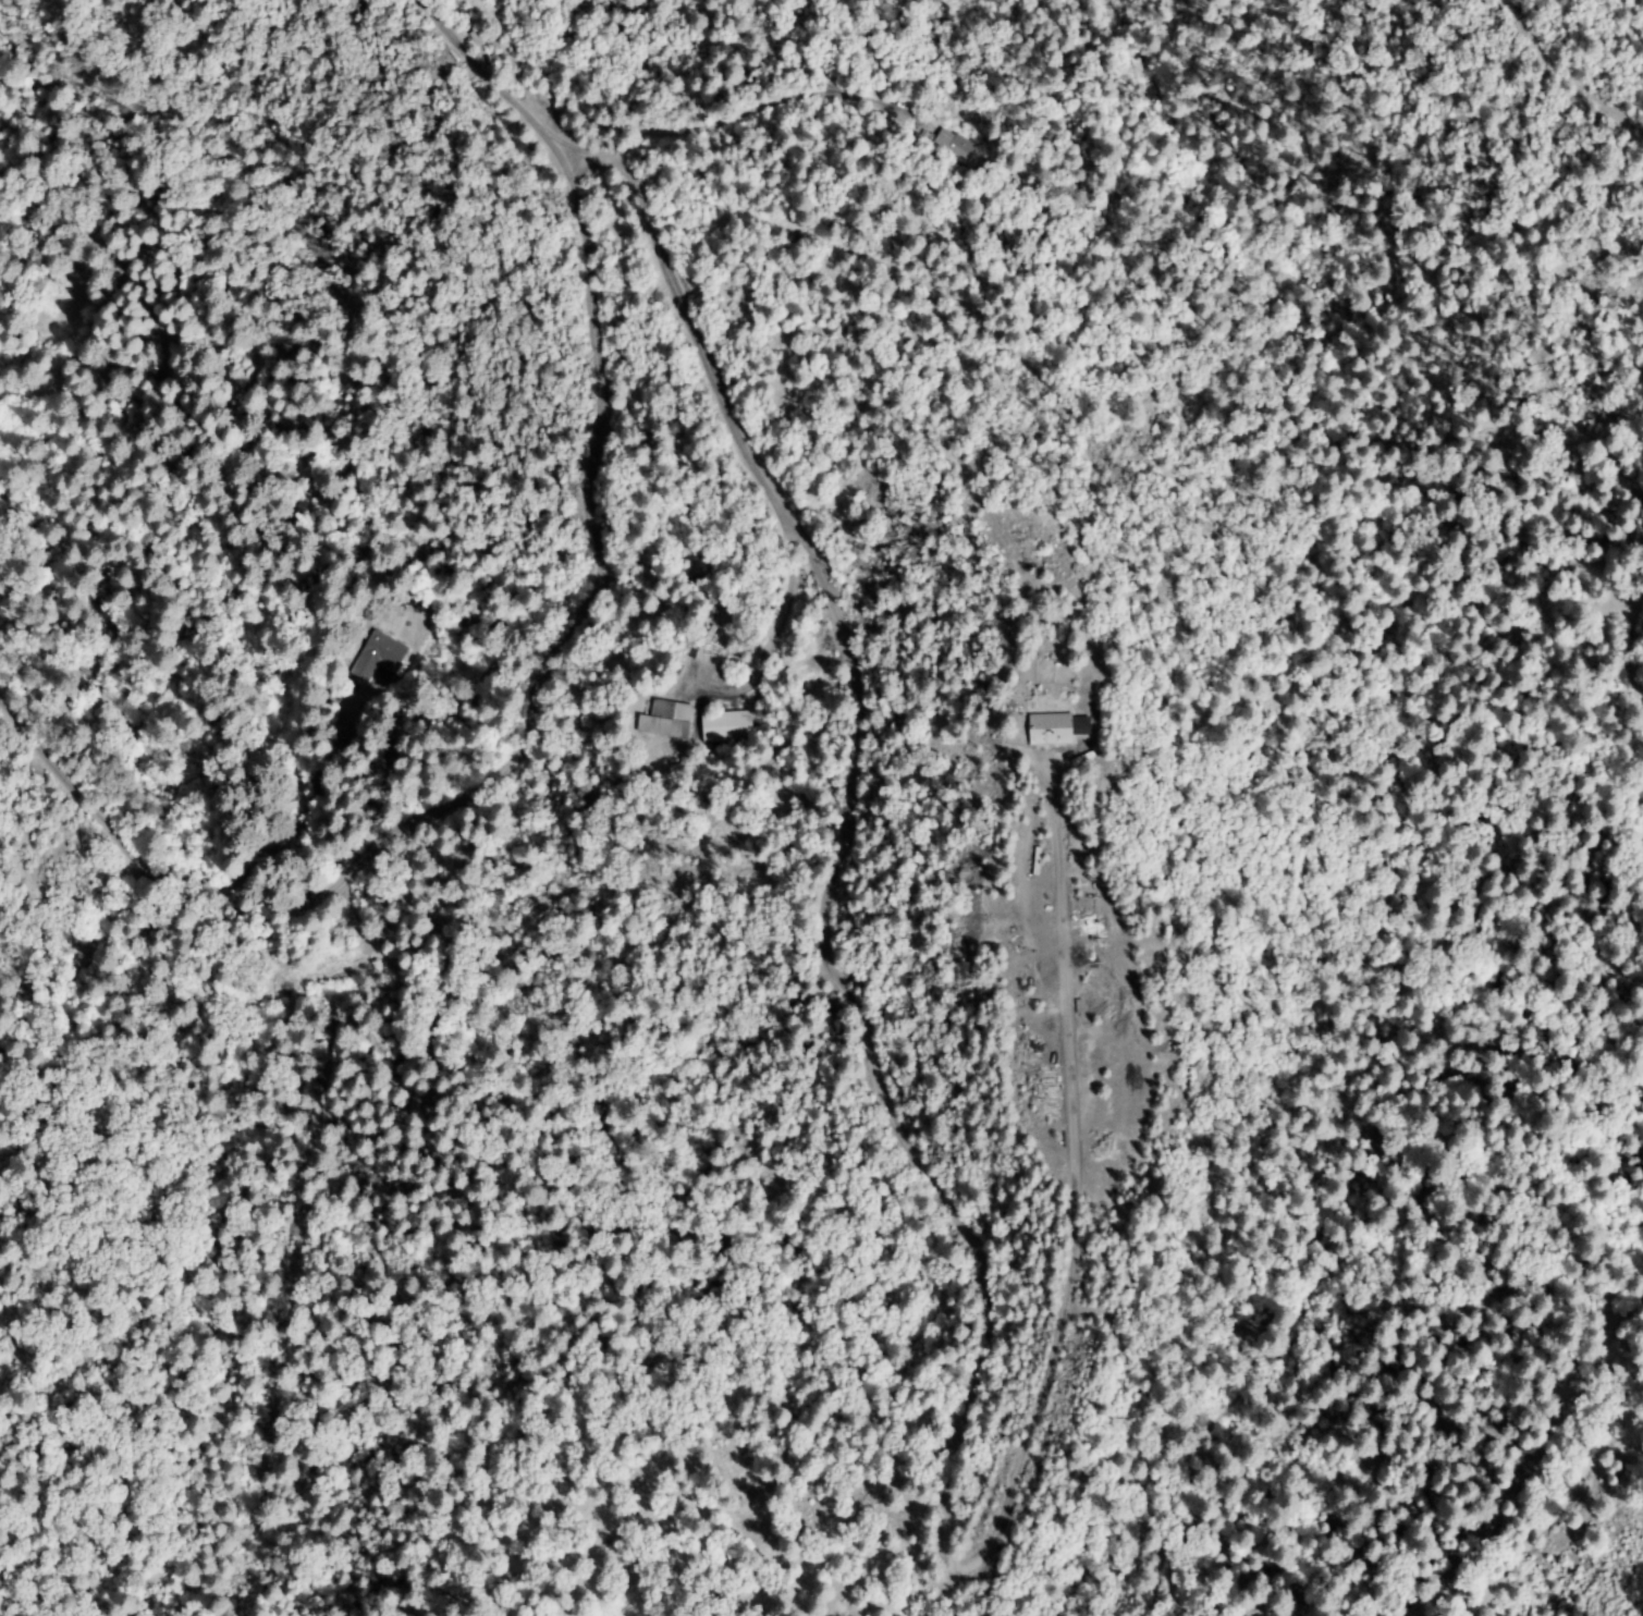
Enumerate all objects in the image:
building: (954, 146)
road: (939, 297)
building: (378, 657)
road: (552, 657)
building: (666, 721)
building: (728, 726)
building: (1058, 729)
road: (850, 805)

